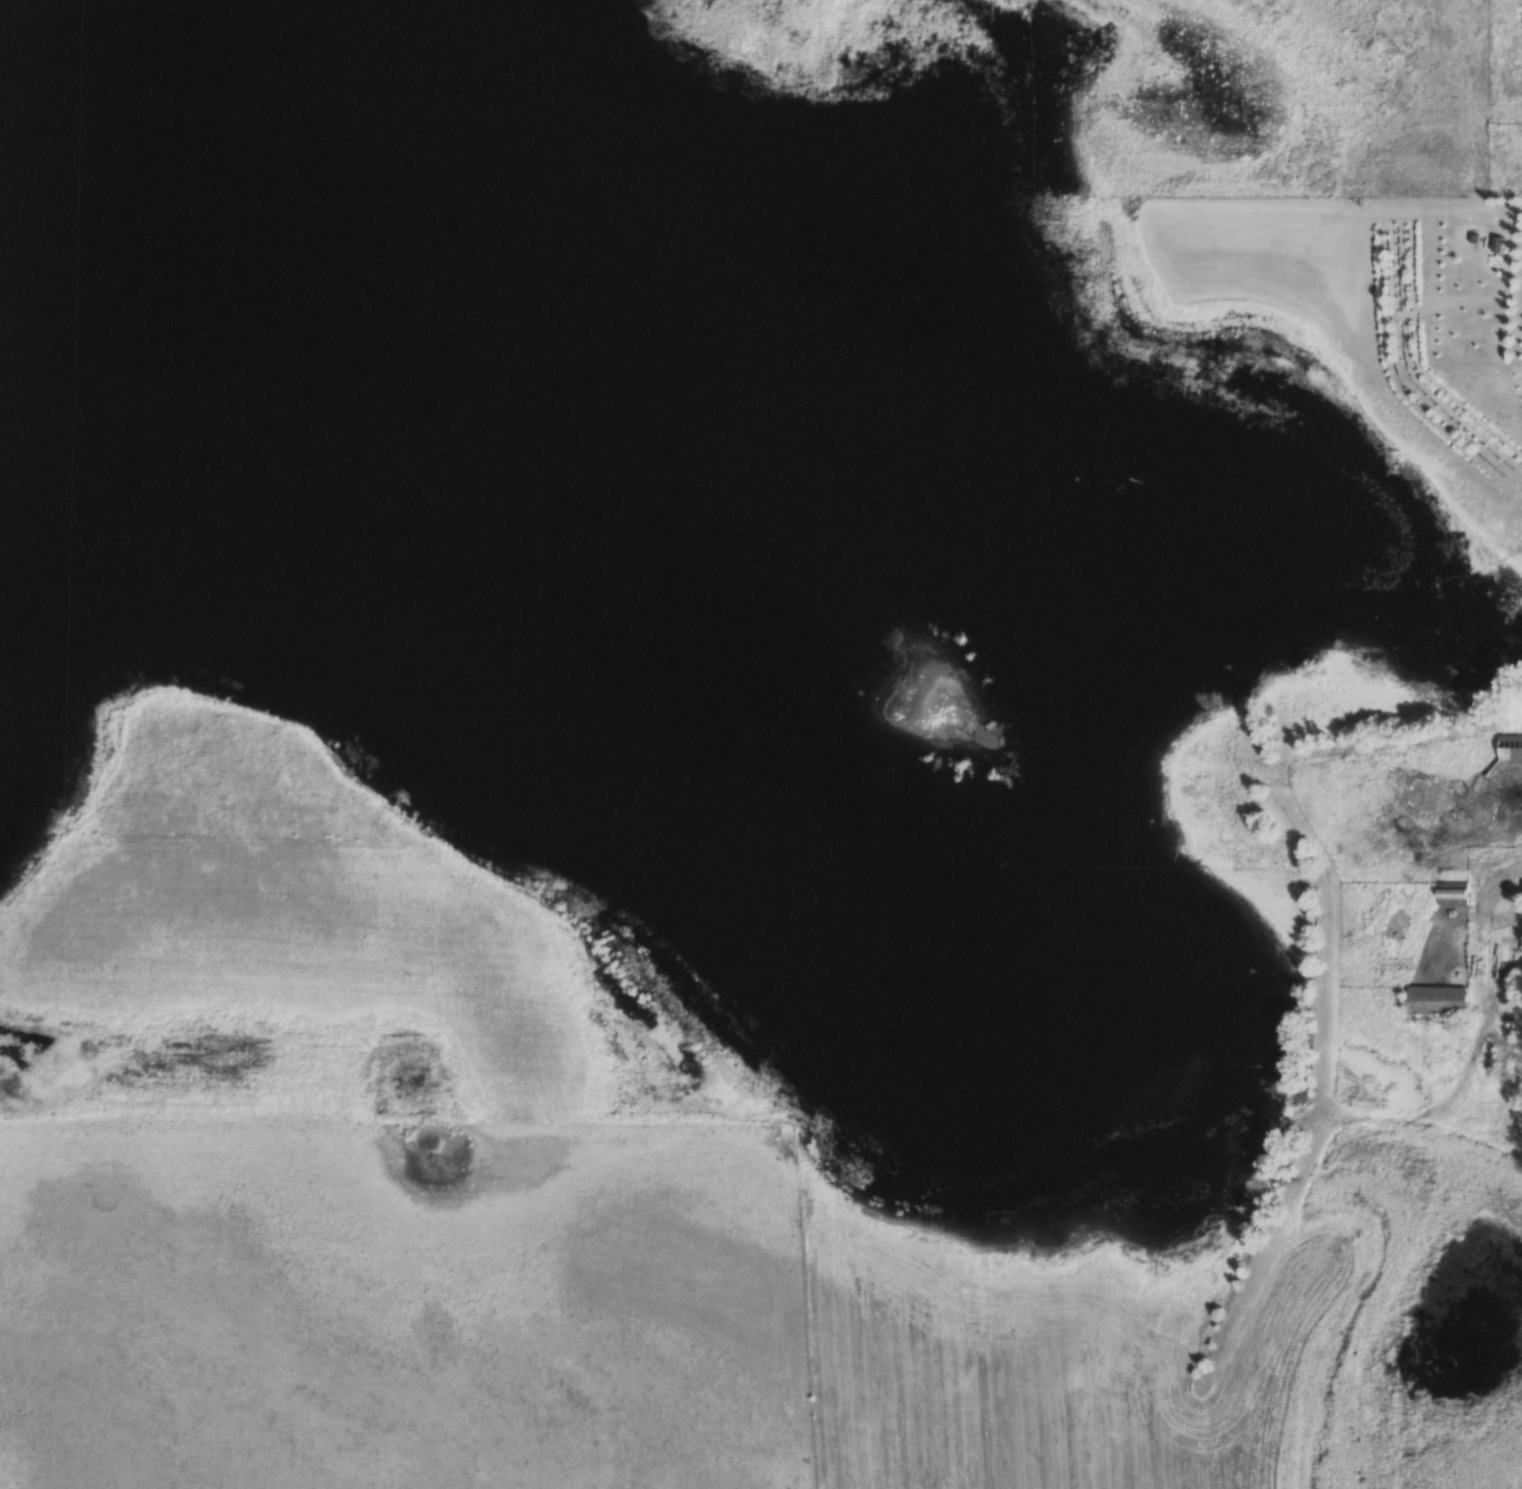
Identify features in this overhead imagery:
building: (1510, 747)
building: (1451, 894)
building: (1435, 1000)
road: (1483, 1042)

